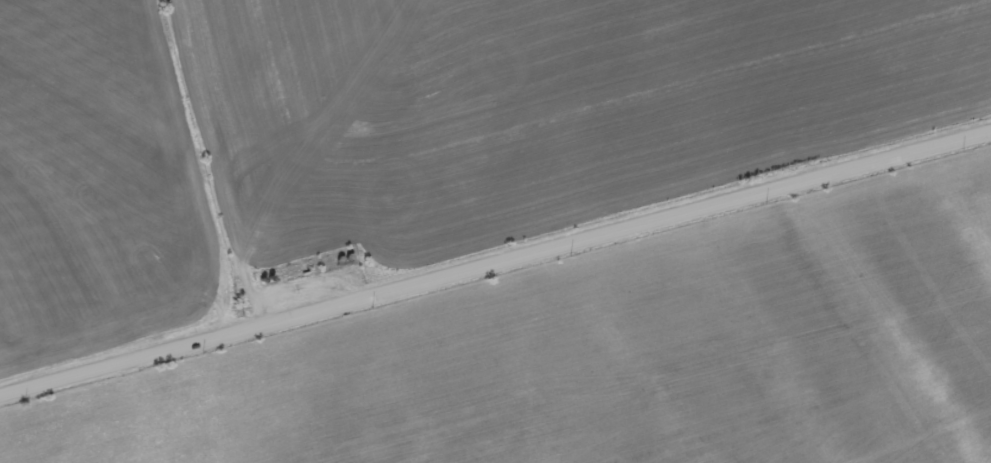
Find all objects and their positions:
road: (495, 281)

